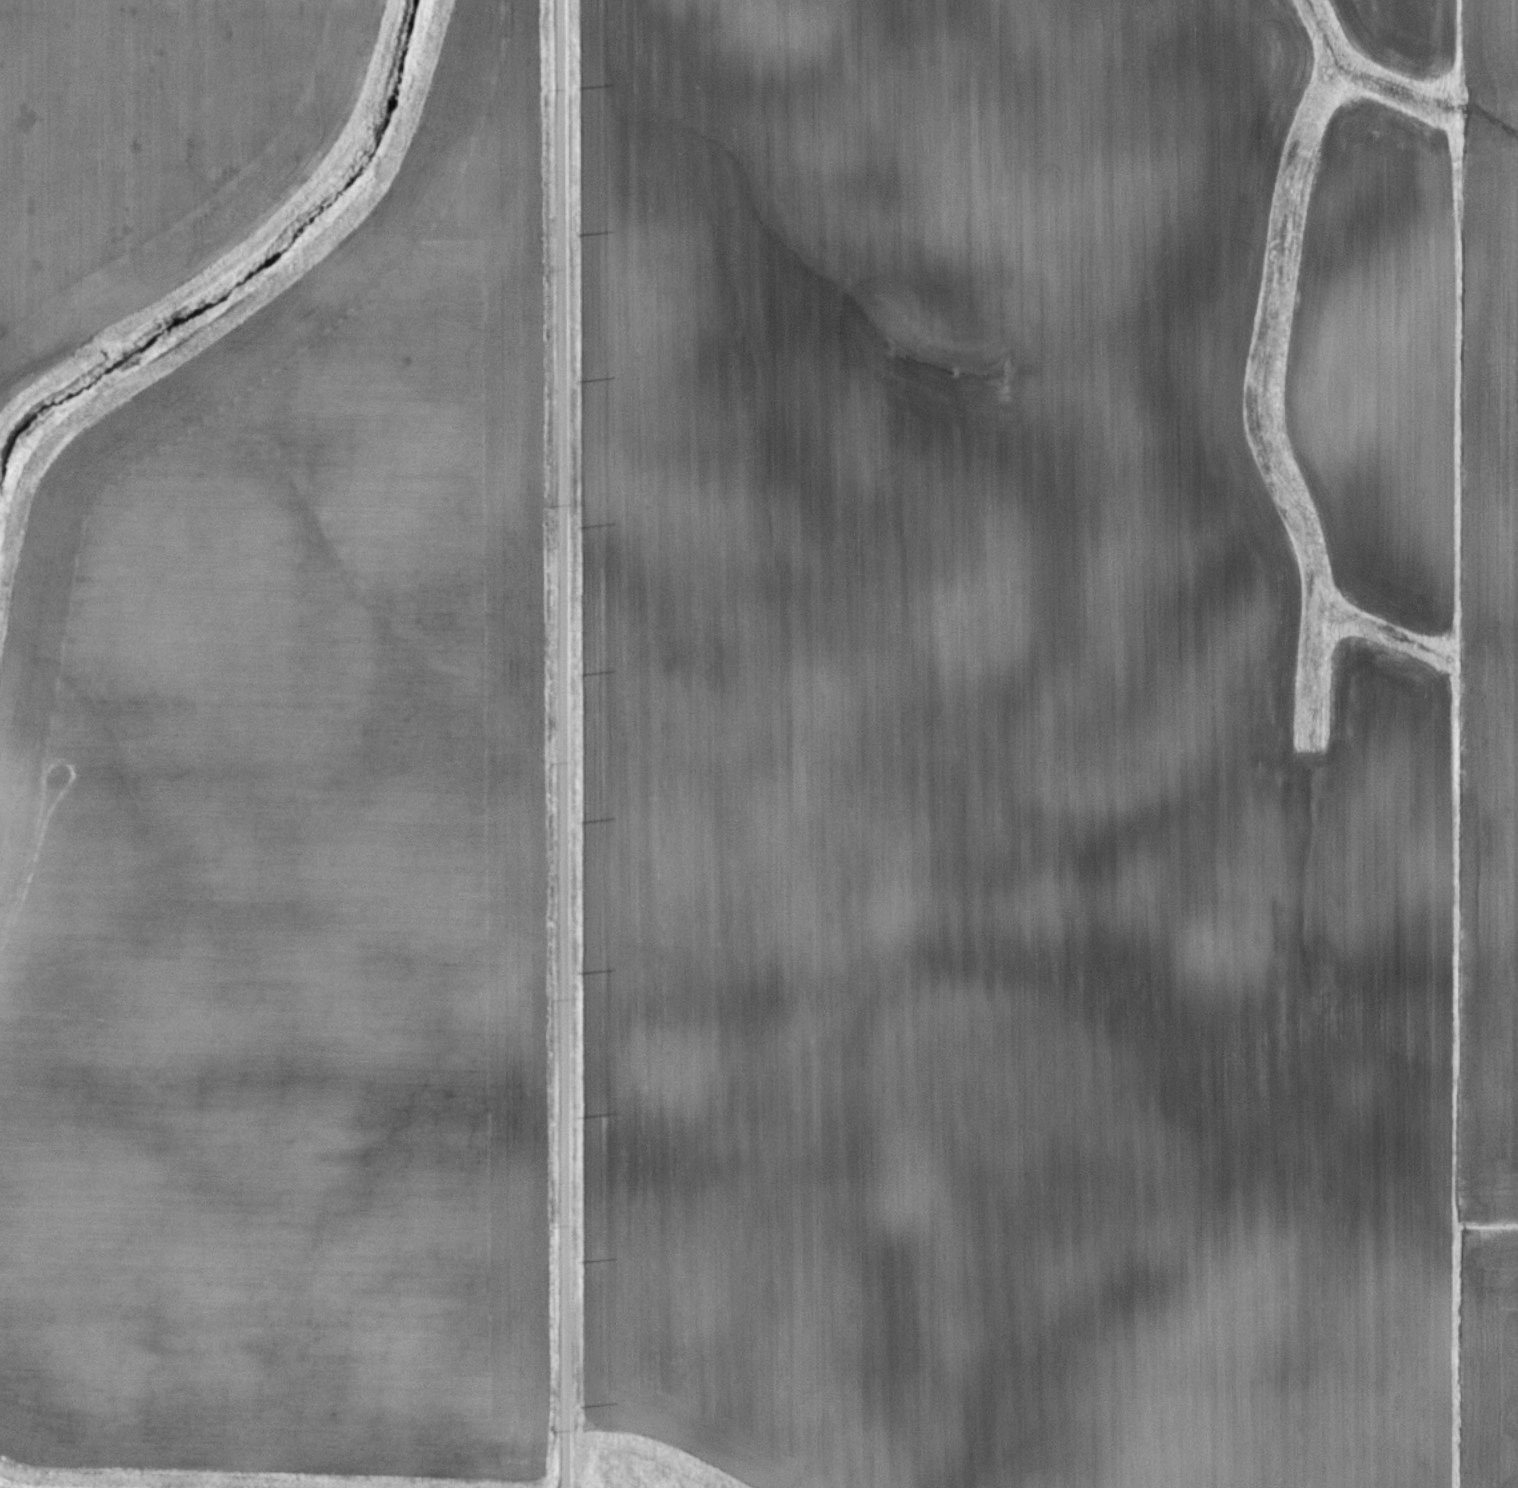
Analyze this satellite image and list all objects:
road: (560, 744)

